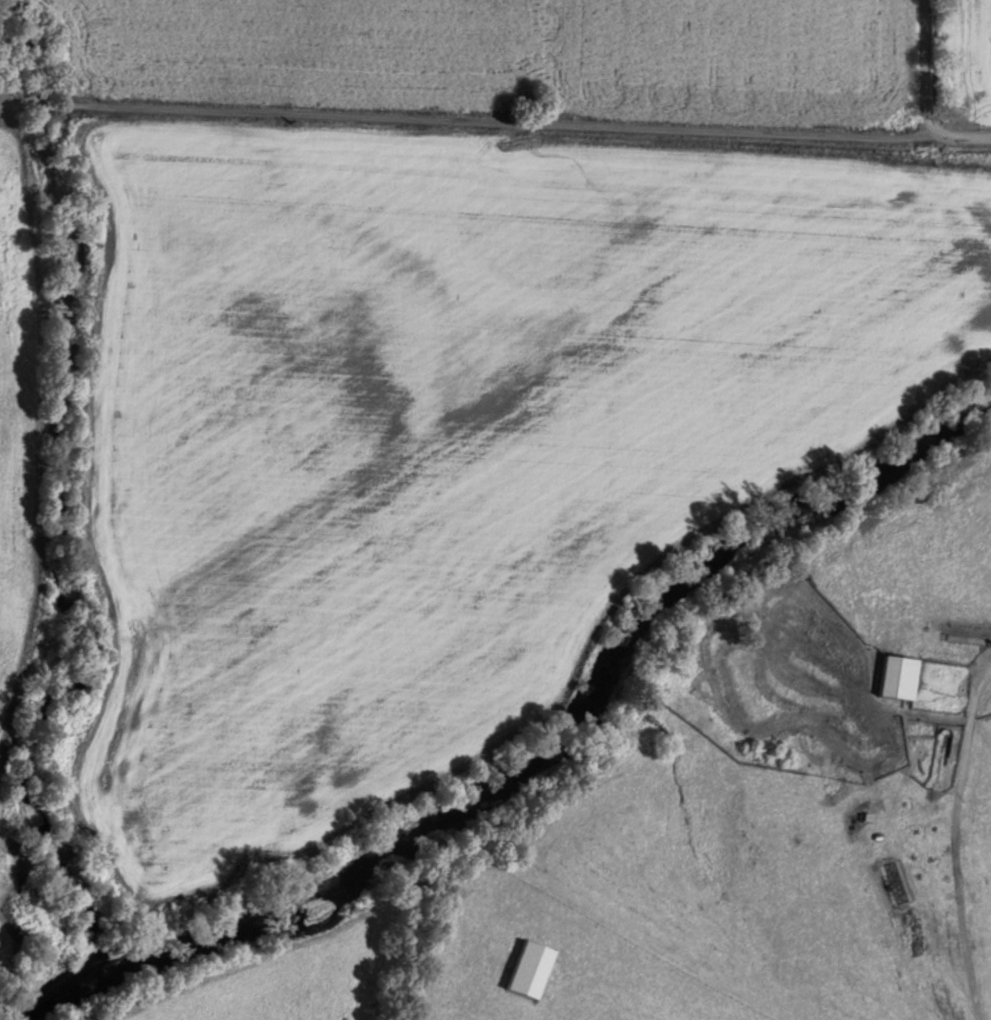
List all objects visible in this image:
road: (925, 67)
road: (464, 117)
road: (959, 135)
building: (900, 676)
road: (938, 728)
building: (531, 968)

